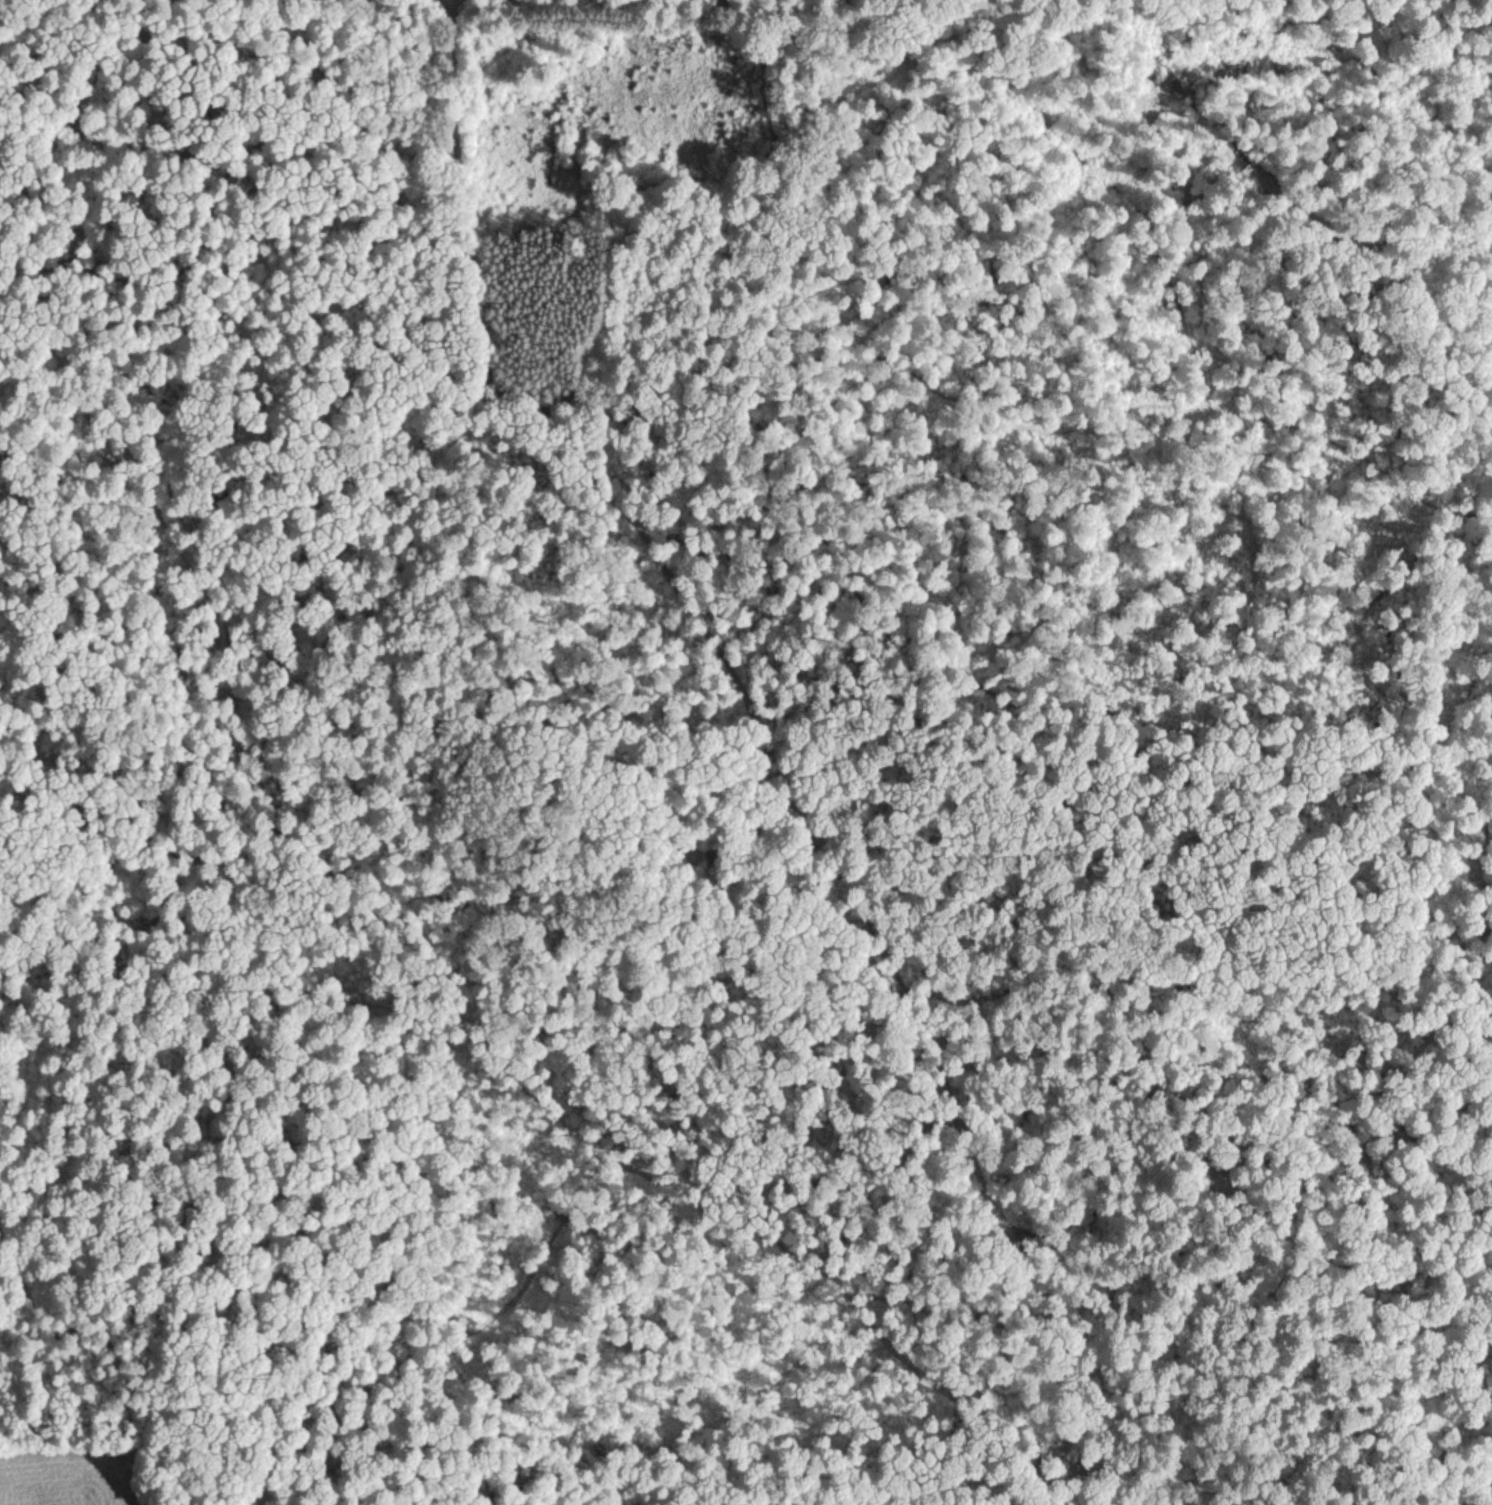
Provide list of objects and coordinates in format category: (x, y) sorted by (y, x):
road: (478, 4)
road: (685, 636)

